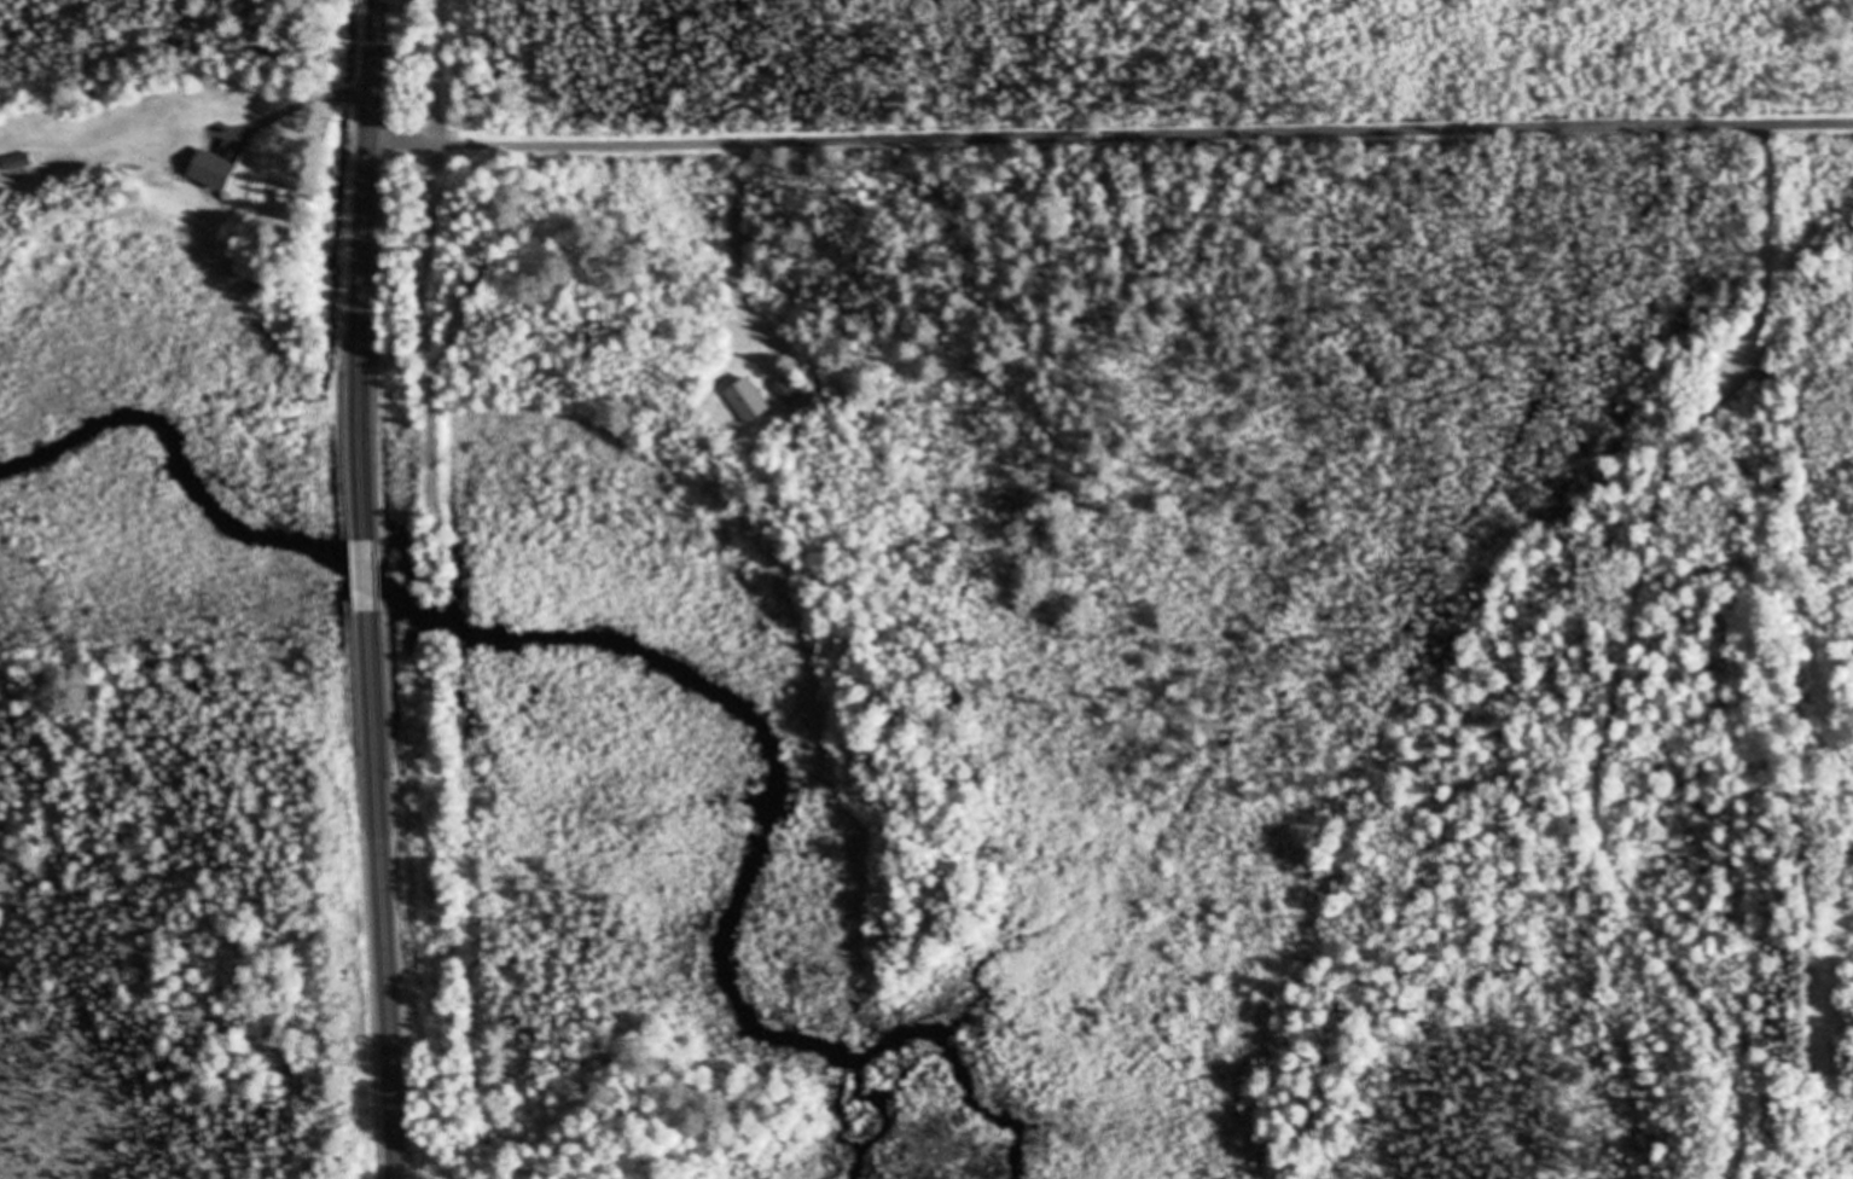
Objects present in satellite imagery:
road: (1110, 134)
building: (215, 170)
road: (362, 257)
road: (431, 289)
building: (790, 390)
road: (364, 563)
river: (626, 643)
road: (451, 878)
road: (382, 894)

